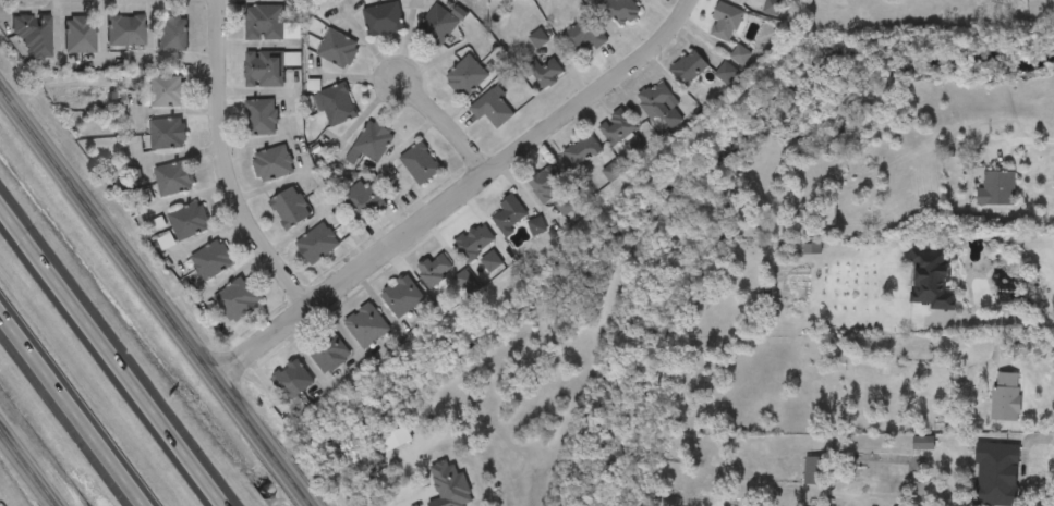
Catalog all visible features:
building: (749, 0)
building: (619, 10)
building: (383, 18)
building: (725, 22)
building: (440, 23)
building: (263, 24)
building: (125, 30)
building: (33, 34)
building: (80, 34)
building: (172, 34)
building: (584, 34)
building: (338, 49)
building: (740, 55)
building: (689, 66)
building: (263, 70)
building: (544, 72)
building: (726, 72)
building: (467, 76)
building: (166, 91)
building: (659, 103)
building: (336, 104)
building: (493, 108)
building: (261, 118)
road: (445, 124)
building: (618, 127)
building: (168, 133)
road: (1022, 140)
building: (371, 144)
building: (586, 148)
building: (272, 163)
building: (421, 163)
road: (223, 166)
building: (173, 178)
building: (546, 185)
building: (996, 188)
road: (459, 194)
building: (363, 201)
building: (564, 205)
building: (290, 209)
building: (823, 211)
building: (509, 213)
building: (189, 220)
building: (536, 226)
building: (474, 243)
building: (317, 244)
building: (213, 259)
building: (435, 269)
building: (464, 280)
building: (933, 280)
road: (157, 295)
building: (402, 297)
building: (238, 299)
road: (1000, 318)
building: (365, 325)
road: (1031, 343)
building: (329, 353)
road: (112, 356)
building: (869, 367)
building: (292, 380)
building: (1006, 397)
road: (75, 405)
building: (880, 425)
road: (1023, 459)
building: (812, 470)
road: (25, 472)
building: (995, 474)
road: (416, 499)

